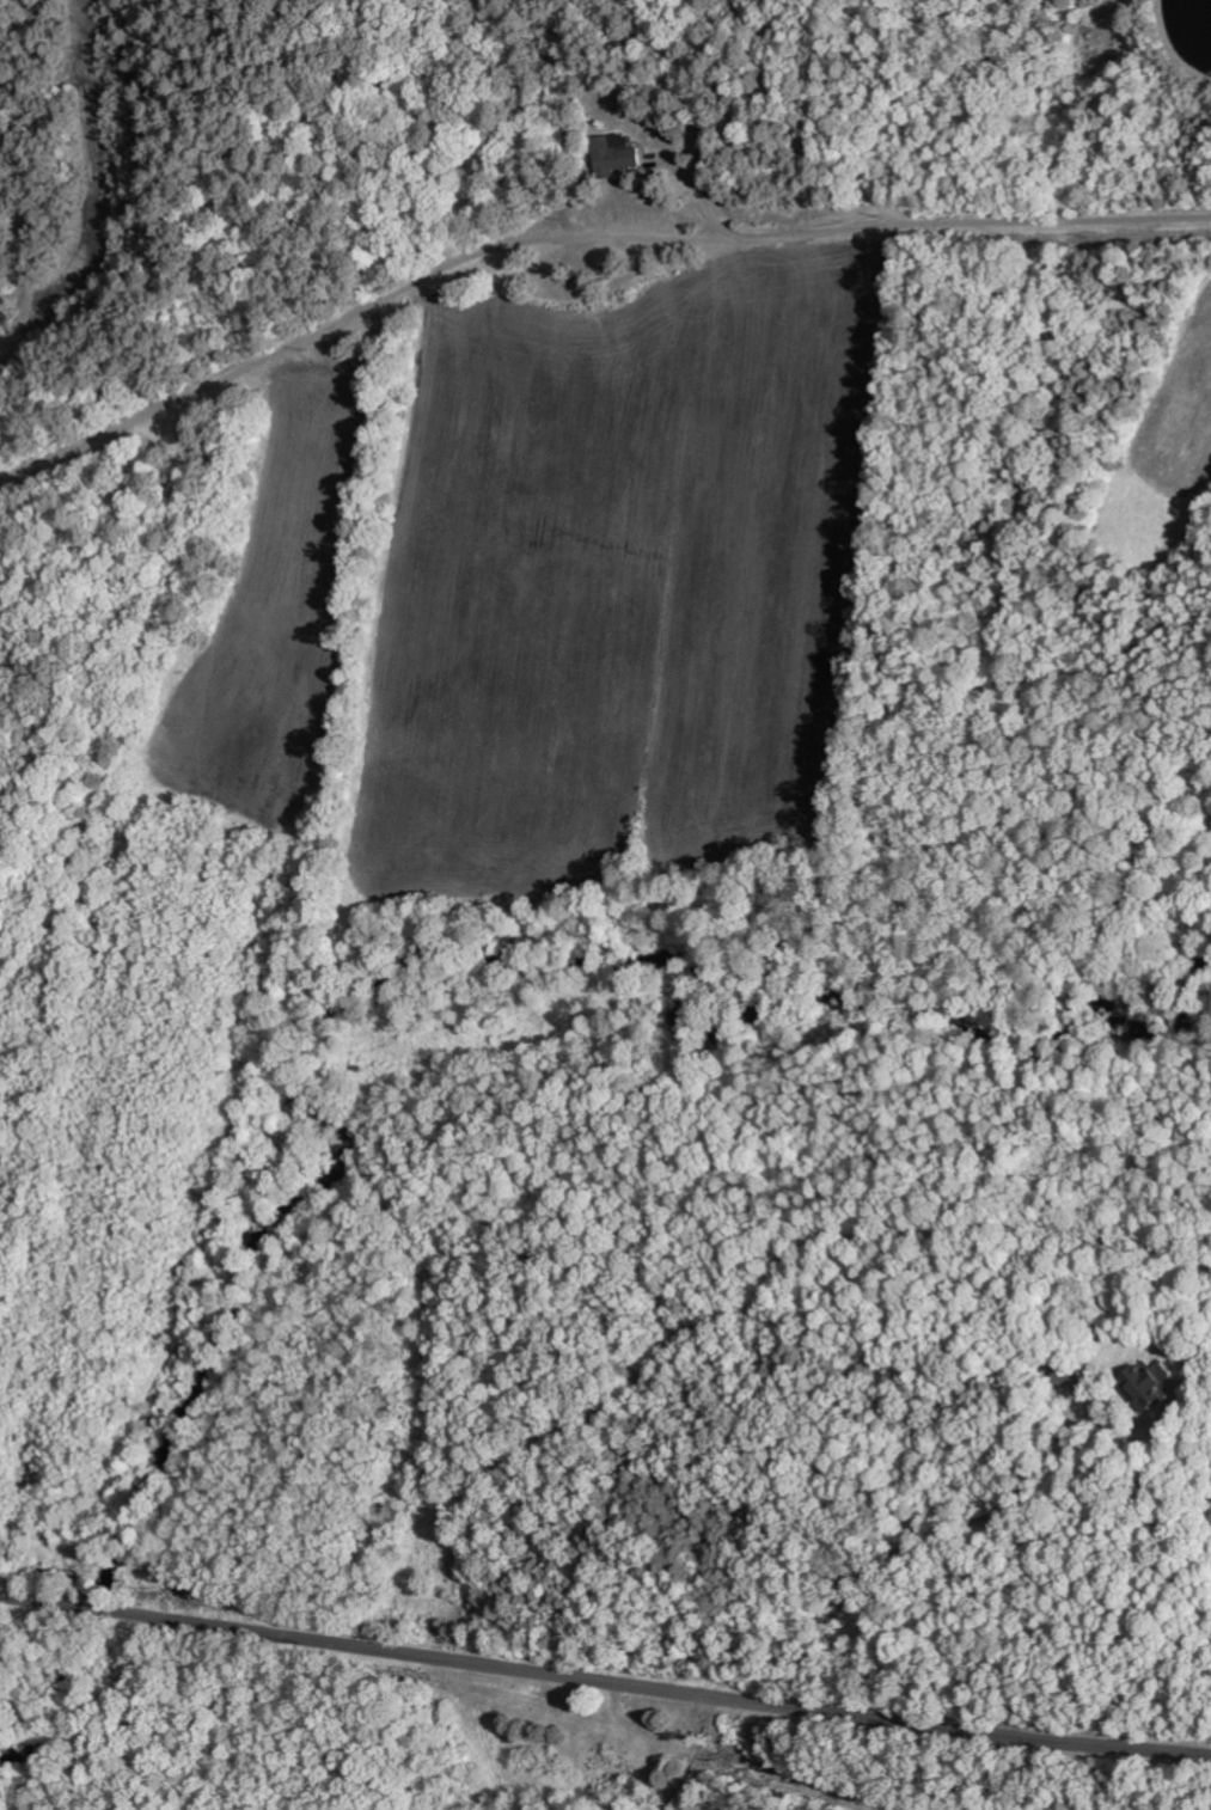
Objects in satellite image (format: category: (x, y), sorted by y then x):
road: (241, 22)
road: (172, 73)
building: (614, 155)
building: (1144, 1384)
road: (604, 1681)
road: (430, 1733)

